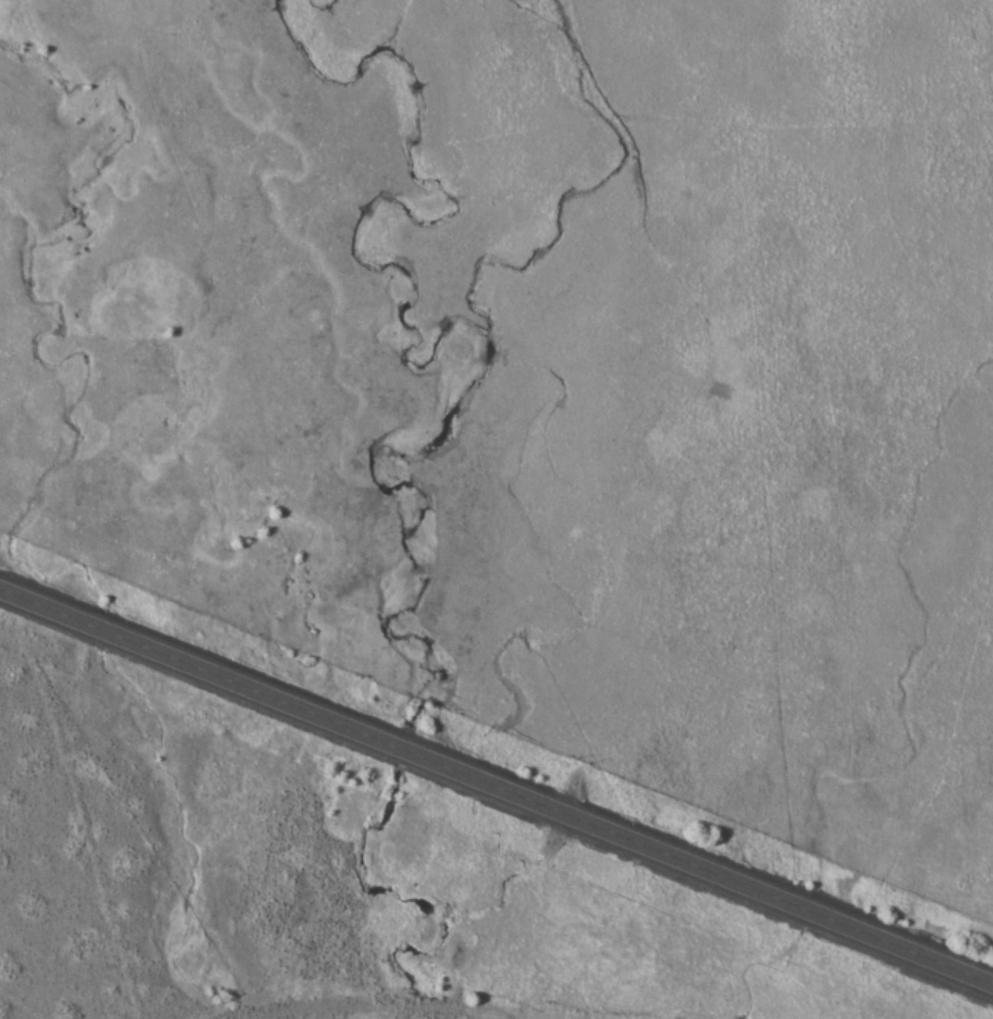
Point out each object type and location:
road: (495, 786)
road: (315, 1009)

